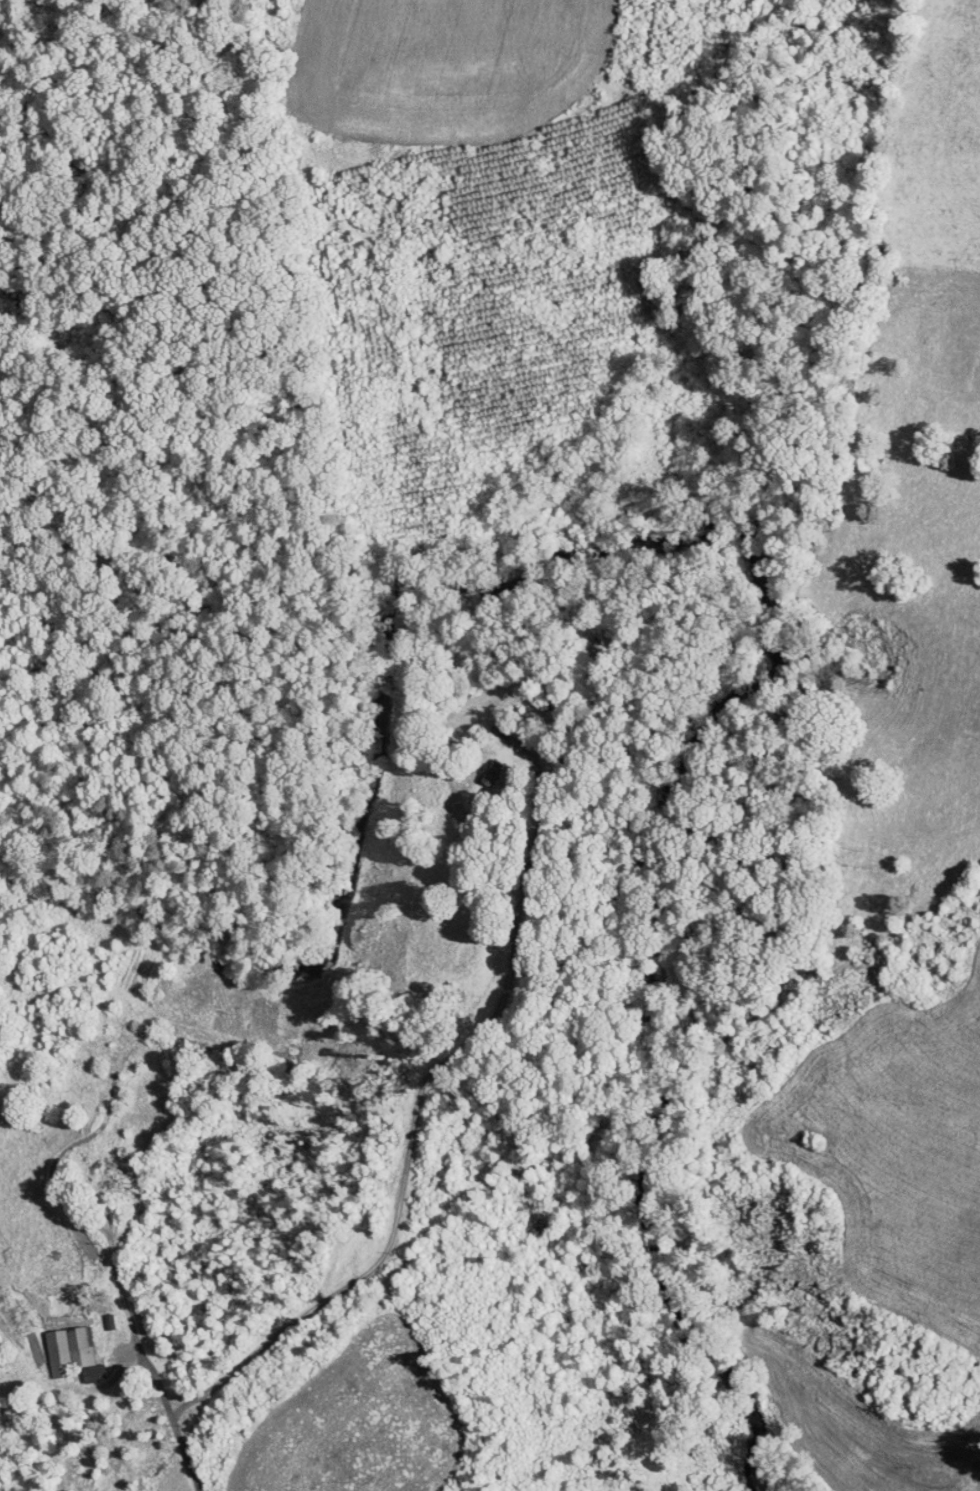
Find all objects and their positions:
road: (417, 1099)
road: (138, 1341)

